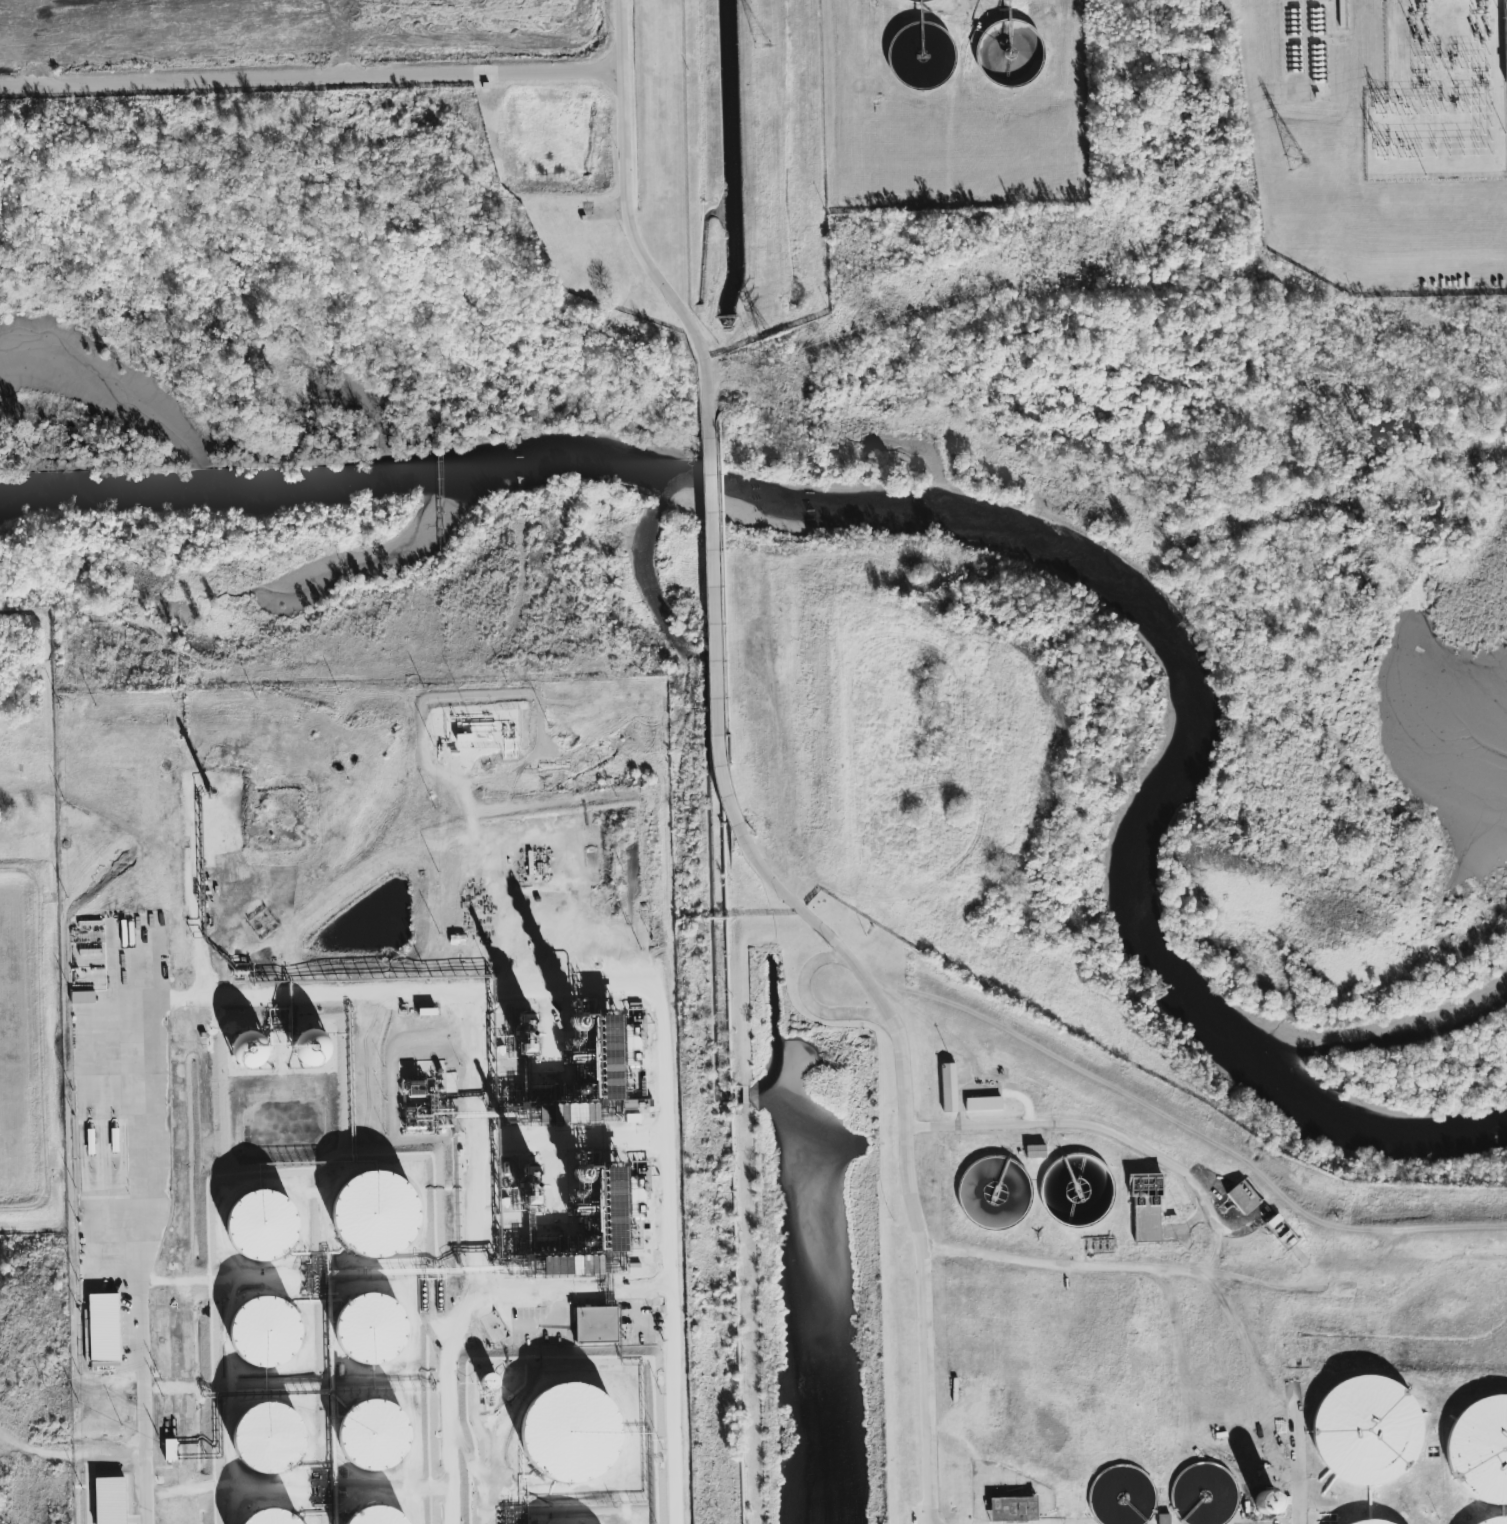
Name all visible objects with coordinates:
road: (618, 35)
building: (1504, 37)
power substation: (1504, 37)
road: (1394, 41)
power tower: (762, 45)
road: (309, 78)
power substation: (1437, 93)
power tower: (1298, 161)
road: (1442, 173)
road: (607, 210)
power tower: (1034, 257)
road: (646, 259)
power tower: (770, 352)
river: (978, 518)
road: (716, 631)
road: (790, 894)
road: (817, 969)
building: (424, 1011)
building: (519, 1038)
road: (50, 1043)
building: (598, 1045)
building: (302, 1047)
building: (243, 1049)
road: (227, 1082)
building: (947, 1087)
building: (982, 1103)
road: (1191, 1127)
river: (1357, 1127)
road: (1117, 1136)
building: (87, 1141)
building: (1033, 1151)
building: (1241, 1196)
building: (1144, 1205)
building: (369, 1213)
building: (602, 1218)
building: (256, 1224)
road: (1145, 1261)
road: (1395, 1263)
road: (918, 1282)
road: (1416, 1296)
building: (593, 1323)
building: (364, 1327)
building: (492, 1327)
building: (100, 1329)
building: (258, 1331)
road: (182, 1426)
building: (1363, 1429)
building: (563, 1432)
building: (366, 1434)
building: (257, 1436)
building: (1479, 1448)
building: (166, 1449)
road: (1298, 1455)
building: (1262, 1502)
road: (1015, 1507)
building: (1010, 1508)
building: (506, 1514)
building: (367, 1516)
building: (260, 1517)
building: (1161, 1519)
building: (1493, 1520)
building: (1364, 1522)

